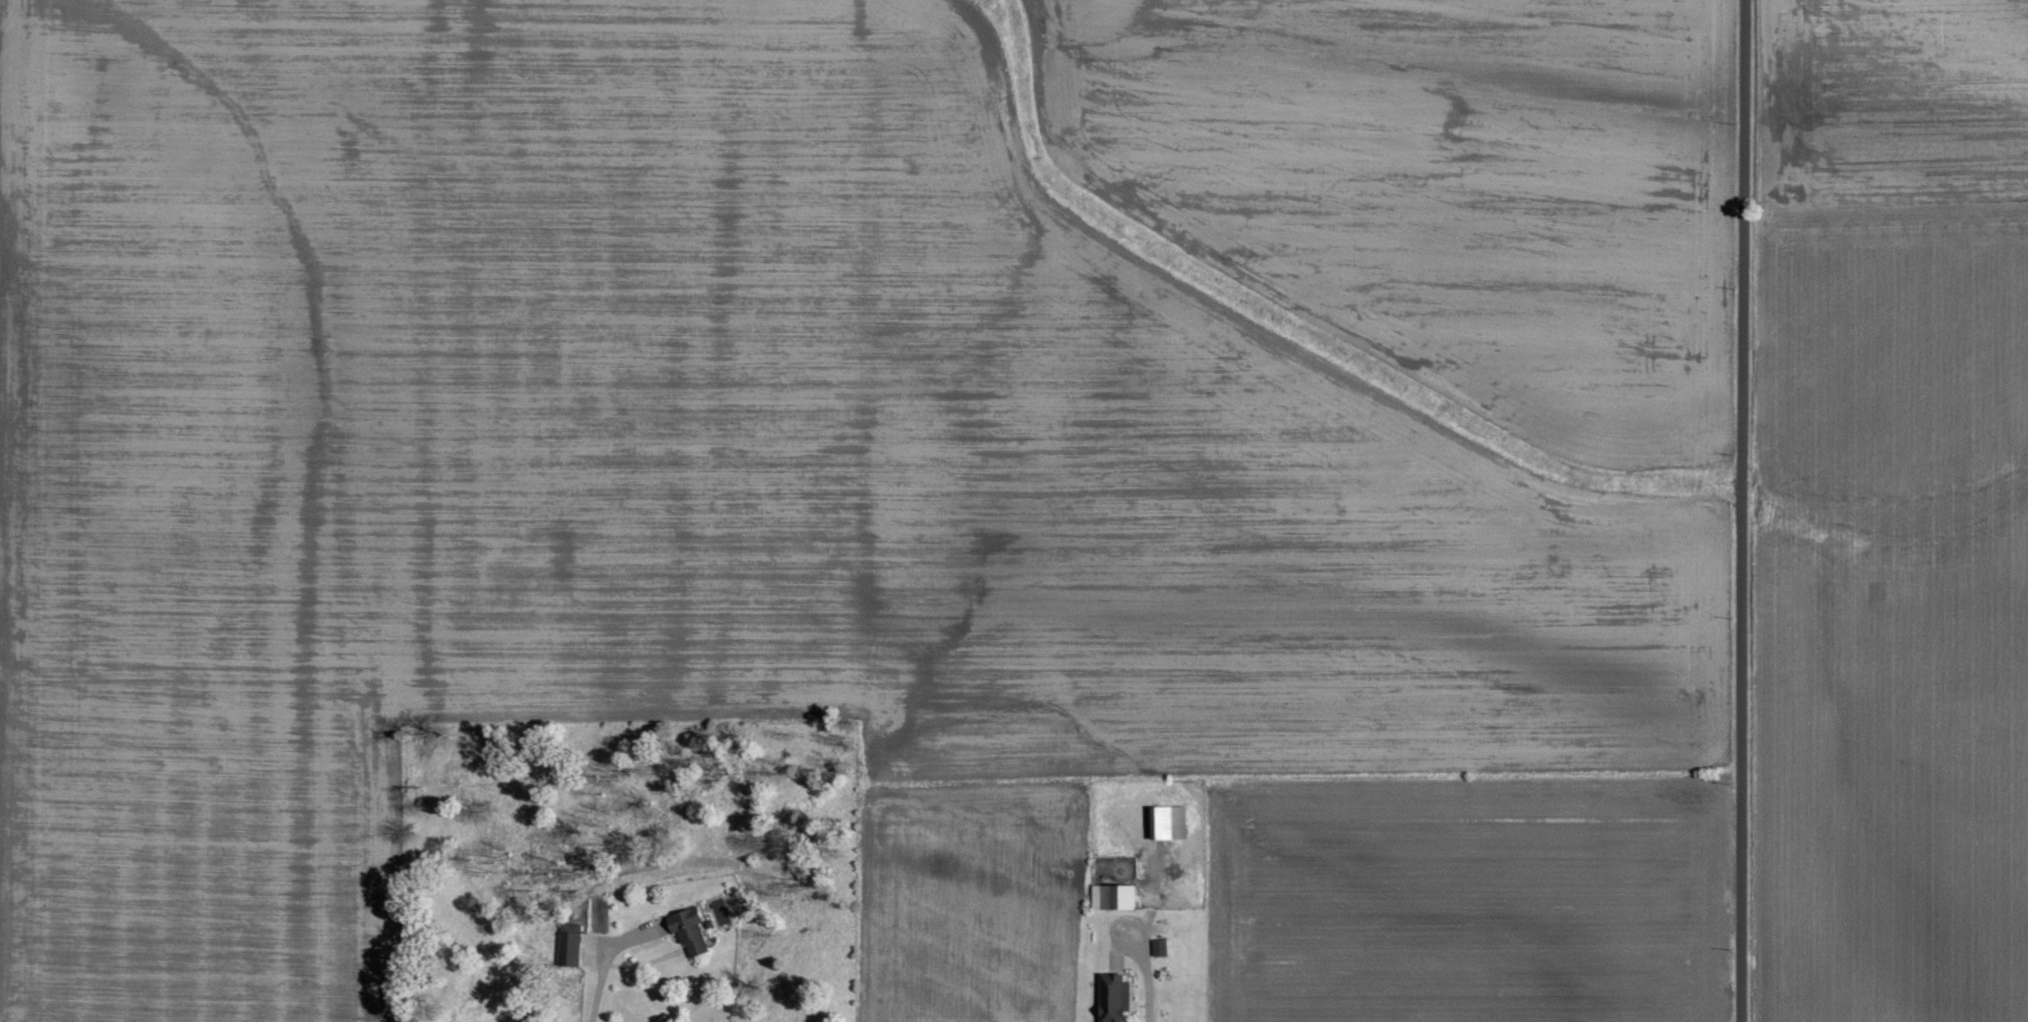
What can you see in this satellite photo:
road: (1745, 511)
building: (1167, 824)
building: (1113, 898)
building: (688, 932)
building: (569, 948)
building: (1159, 948)
building: (1114, 998)

